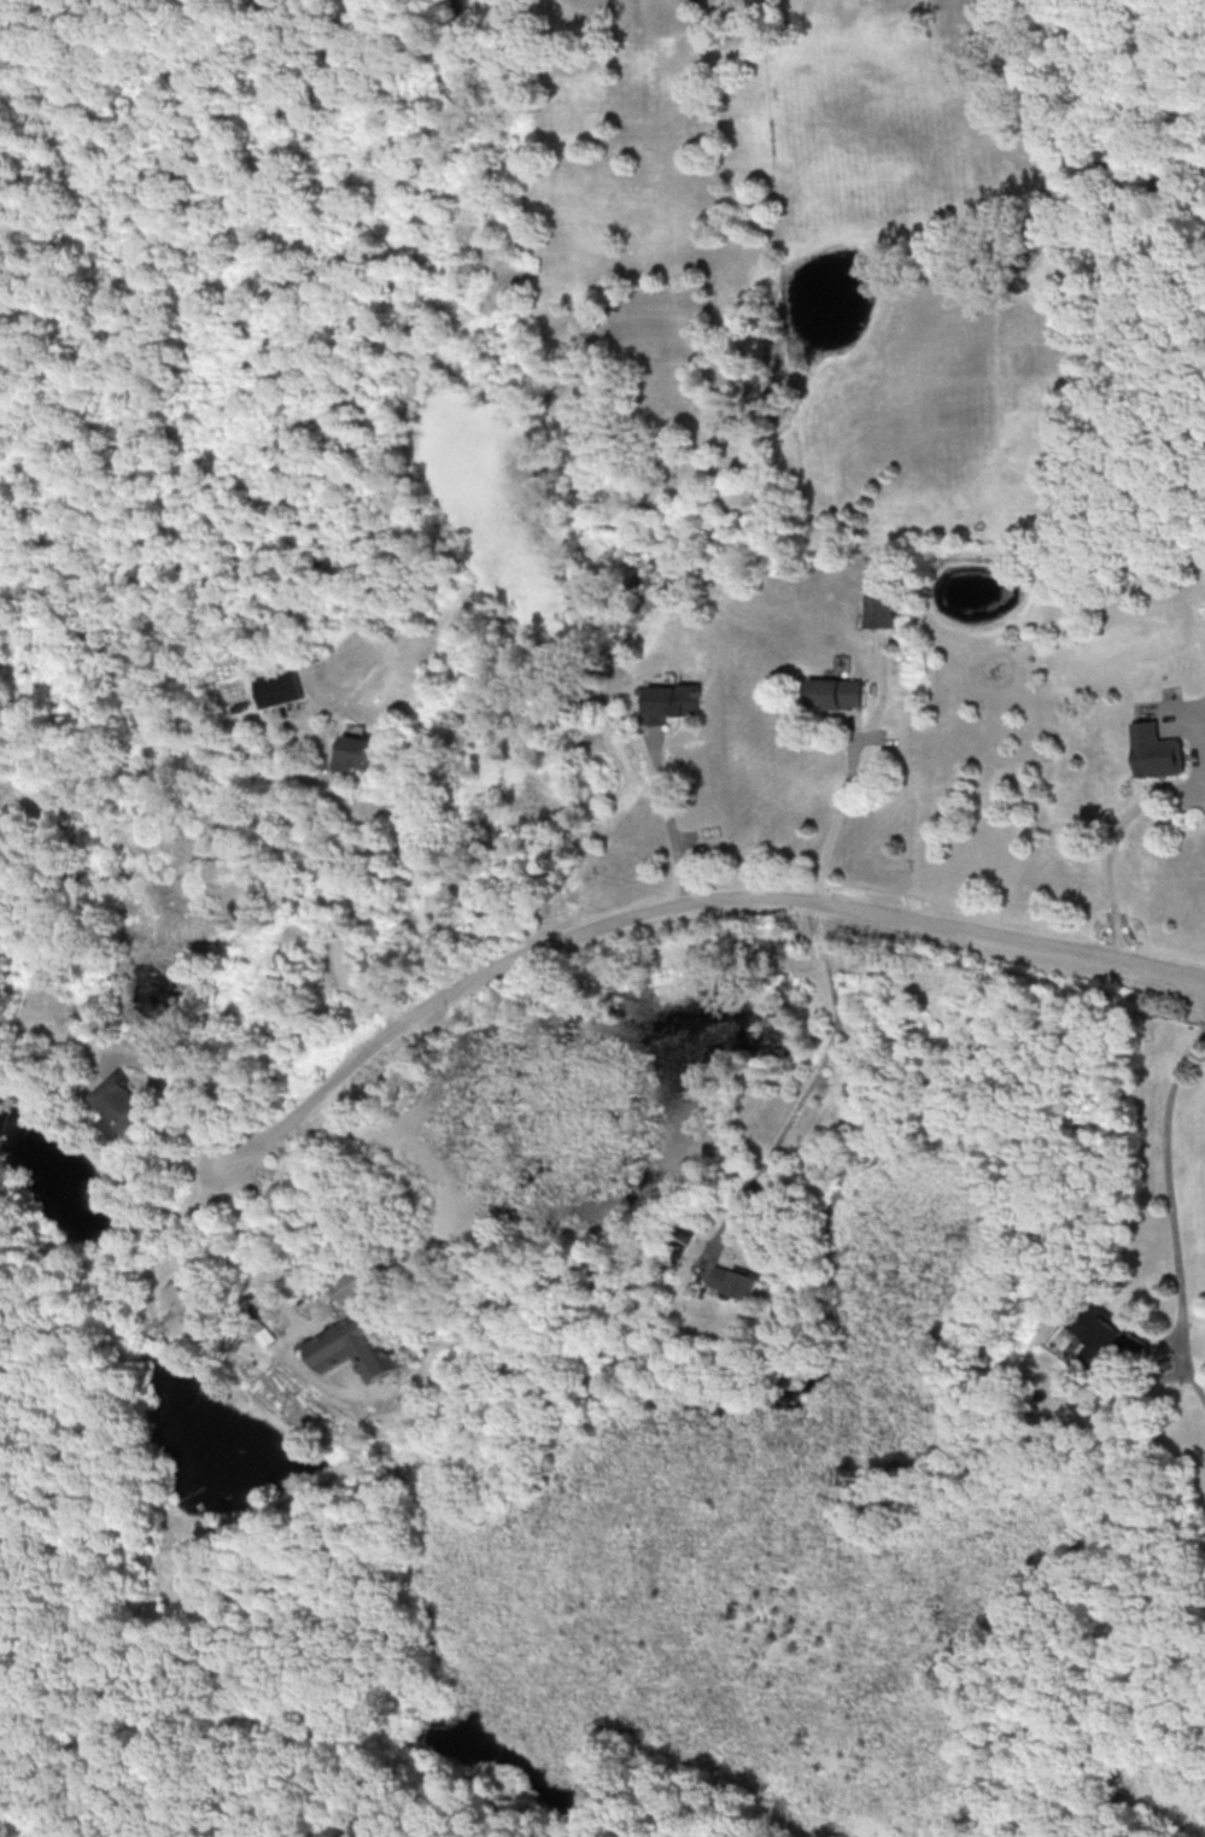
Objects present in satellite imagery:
building: (879, 609)
building: (279, 688)
building: (833, 691)
building: (672, 701)
building: (1154, 750)
building: (353, 753)
road: (838, 815)
road: (671, 823)
road: (1110, 832)
road: (682, 908)
road: (347, 913)
road: (814, 1075)
road: (175, 1094)
building: (121, 1104)
road: (1171, 1211)
road: (251, 1253)
building: (737, 1281)
building: (349, 1283)
building: (185, 1306)
building: (1101, 1333)

